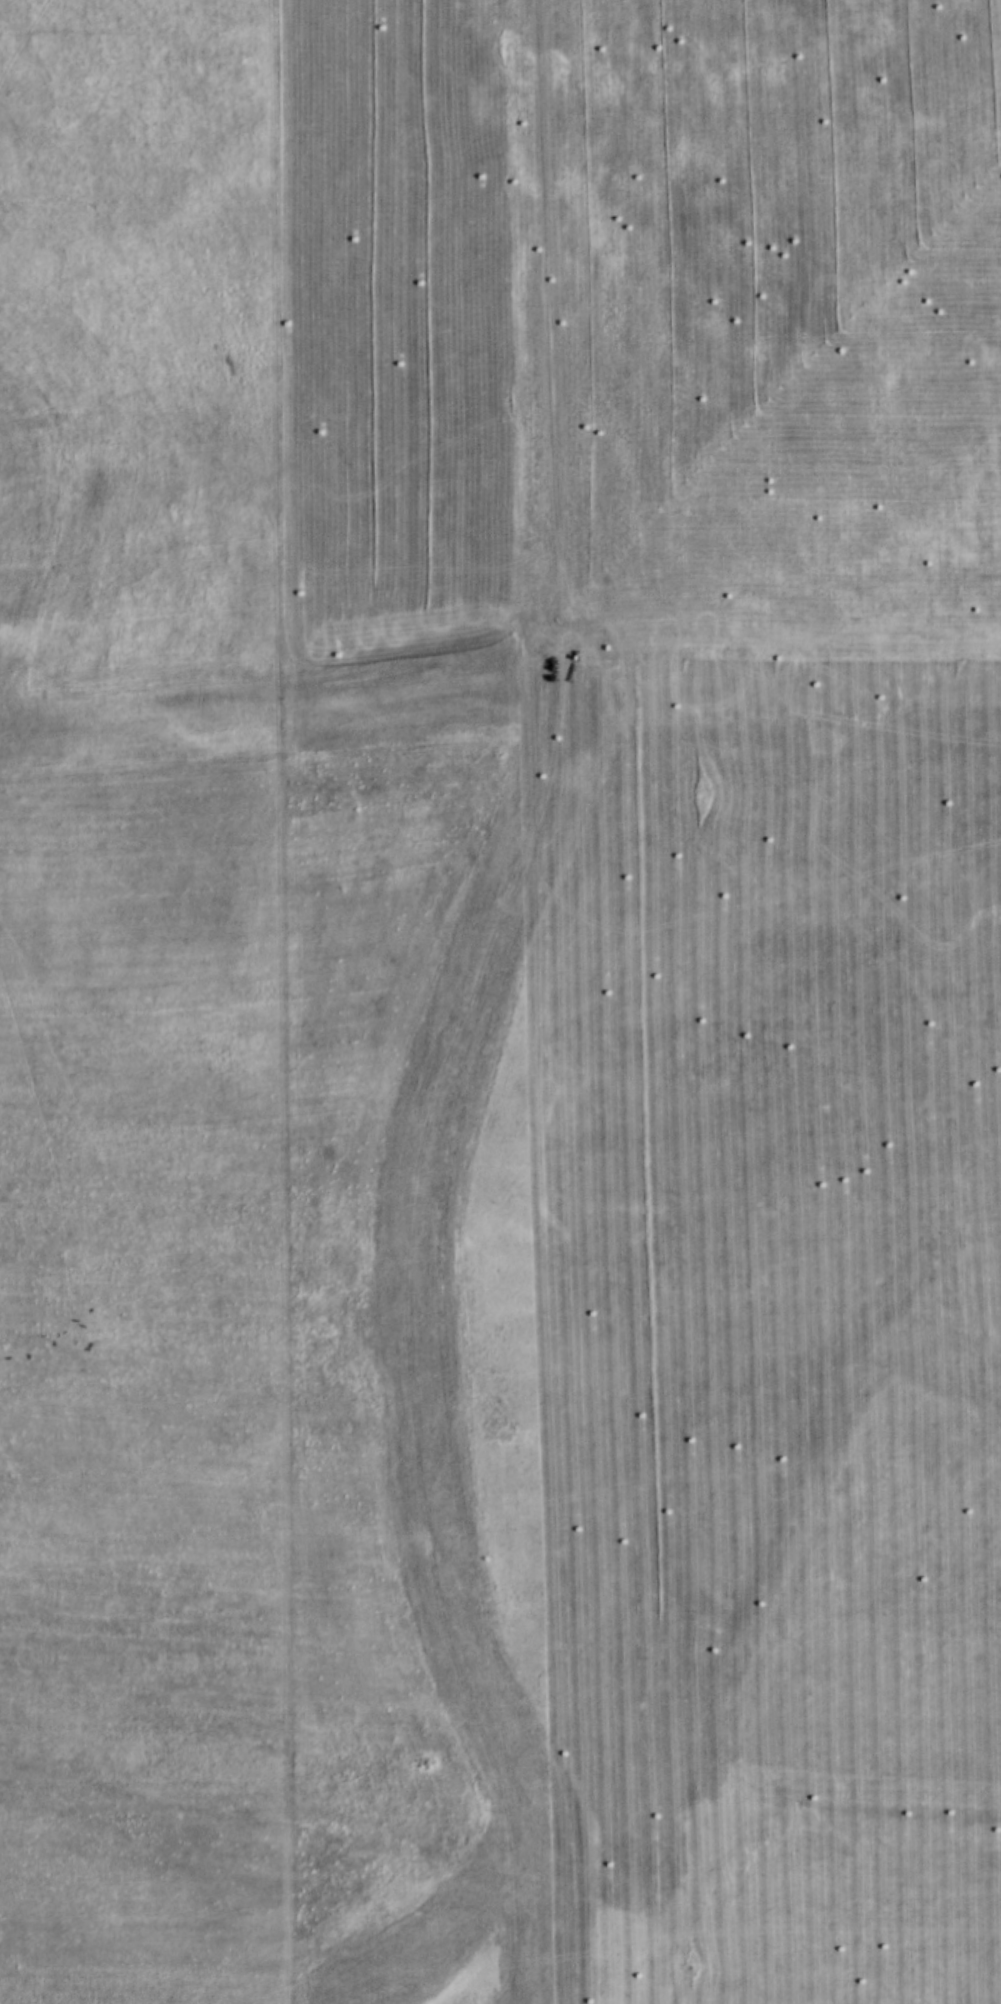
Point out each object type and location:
quarry: (500, 1002)

